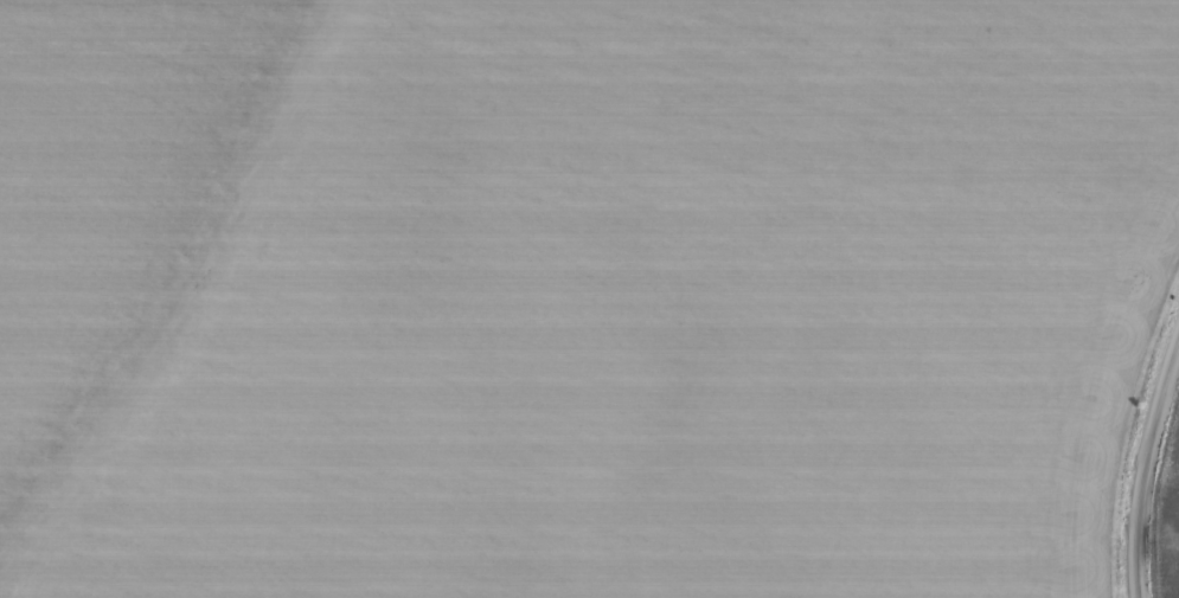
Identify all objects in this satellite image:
road: (1146, 465)

